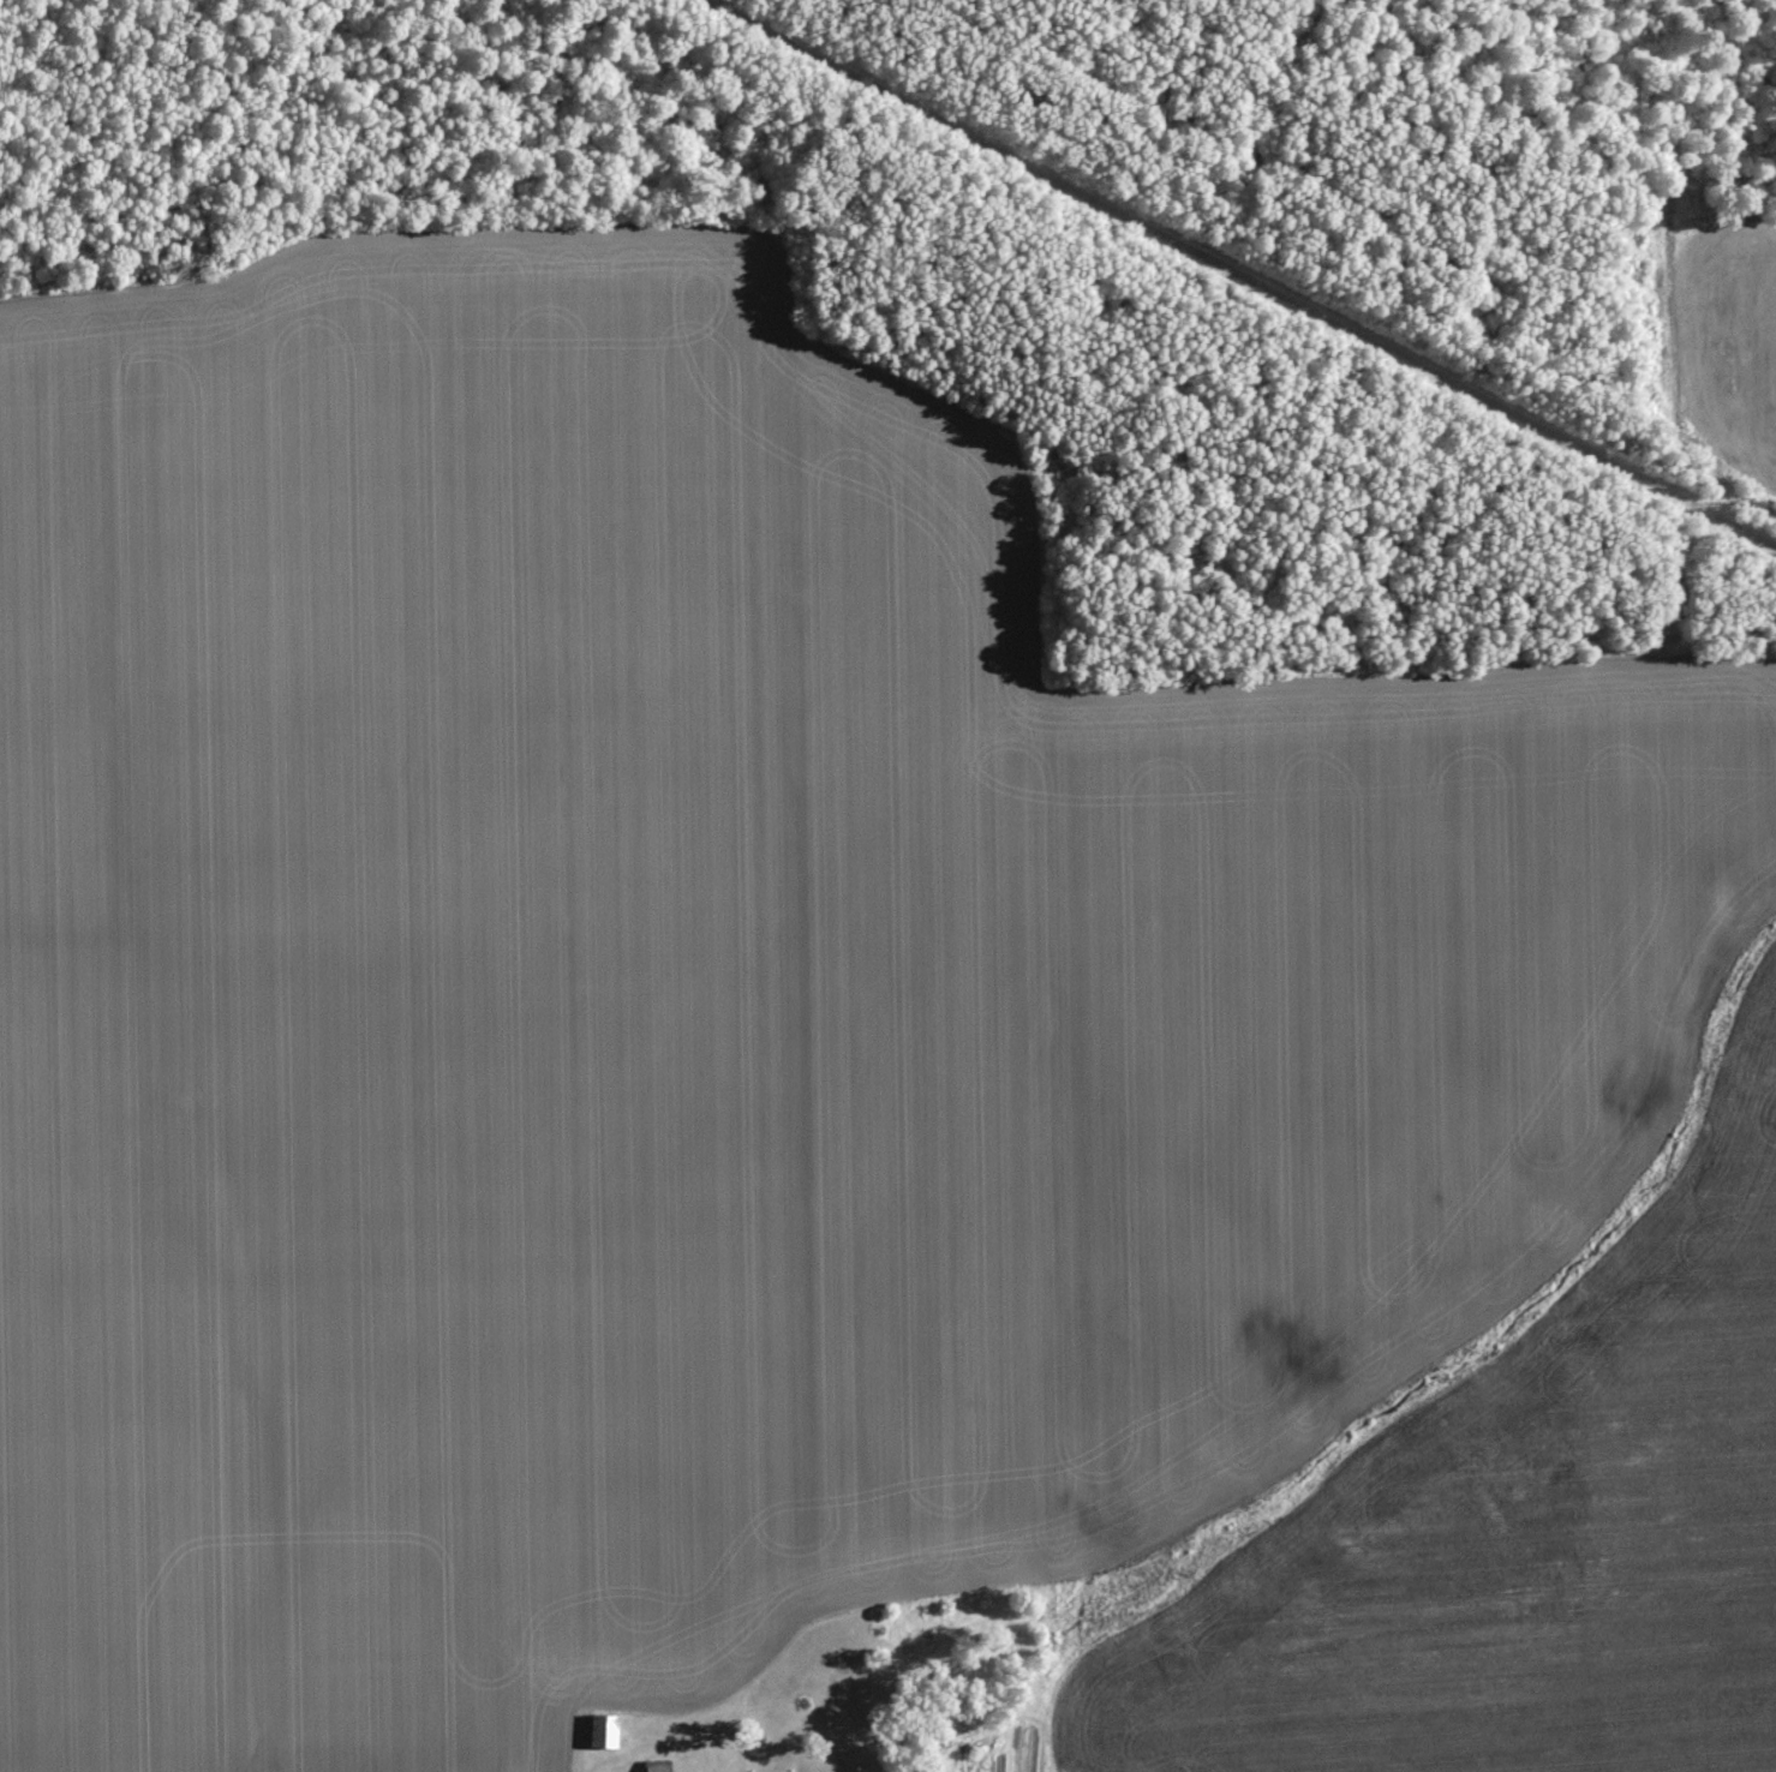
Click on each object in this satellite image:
road: (573, 1748)

